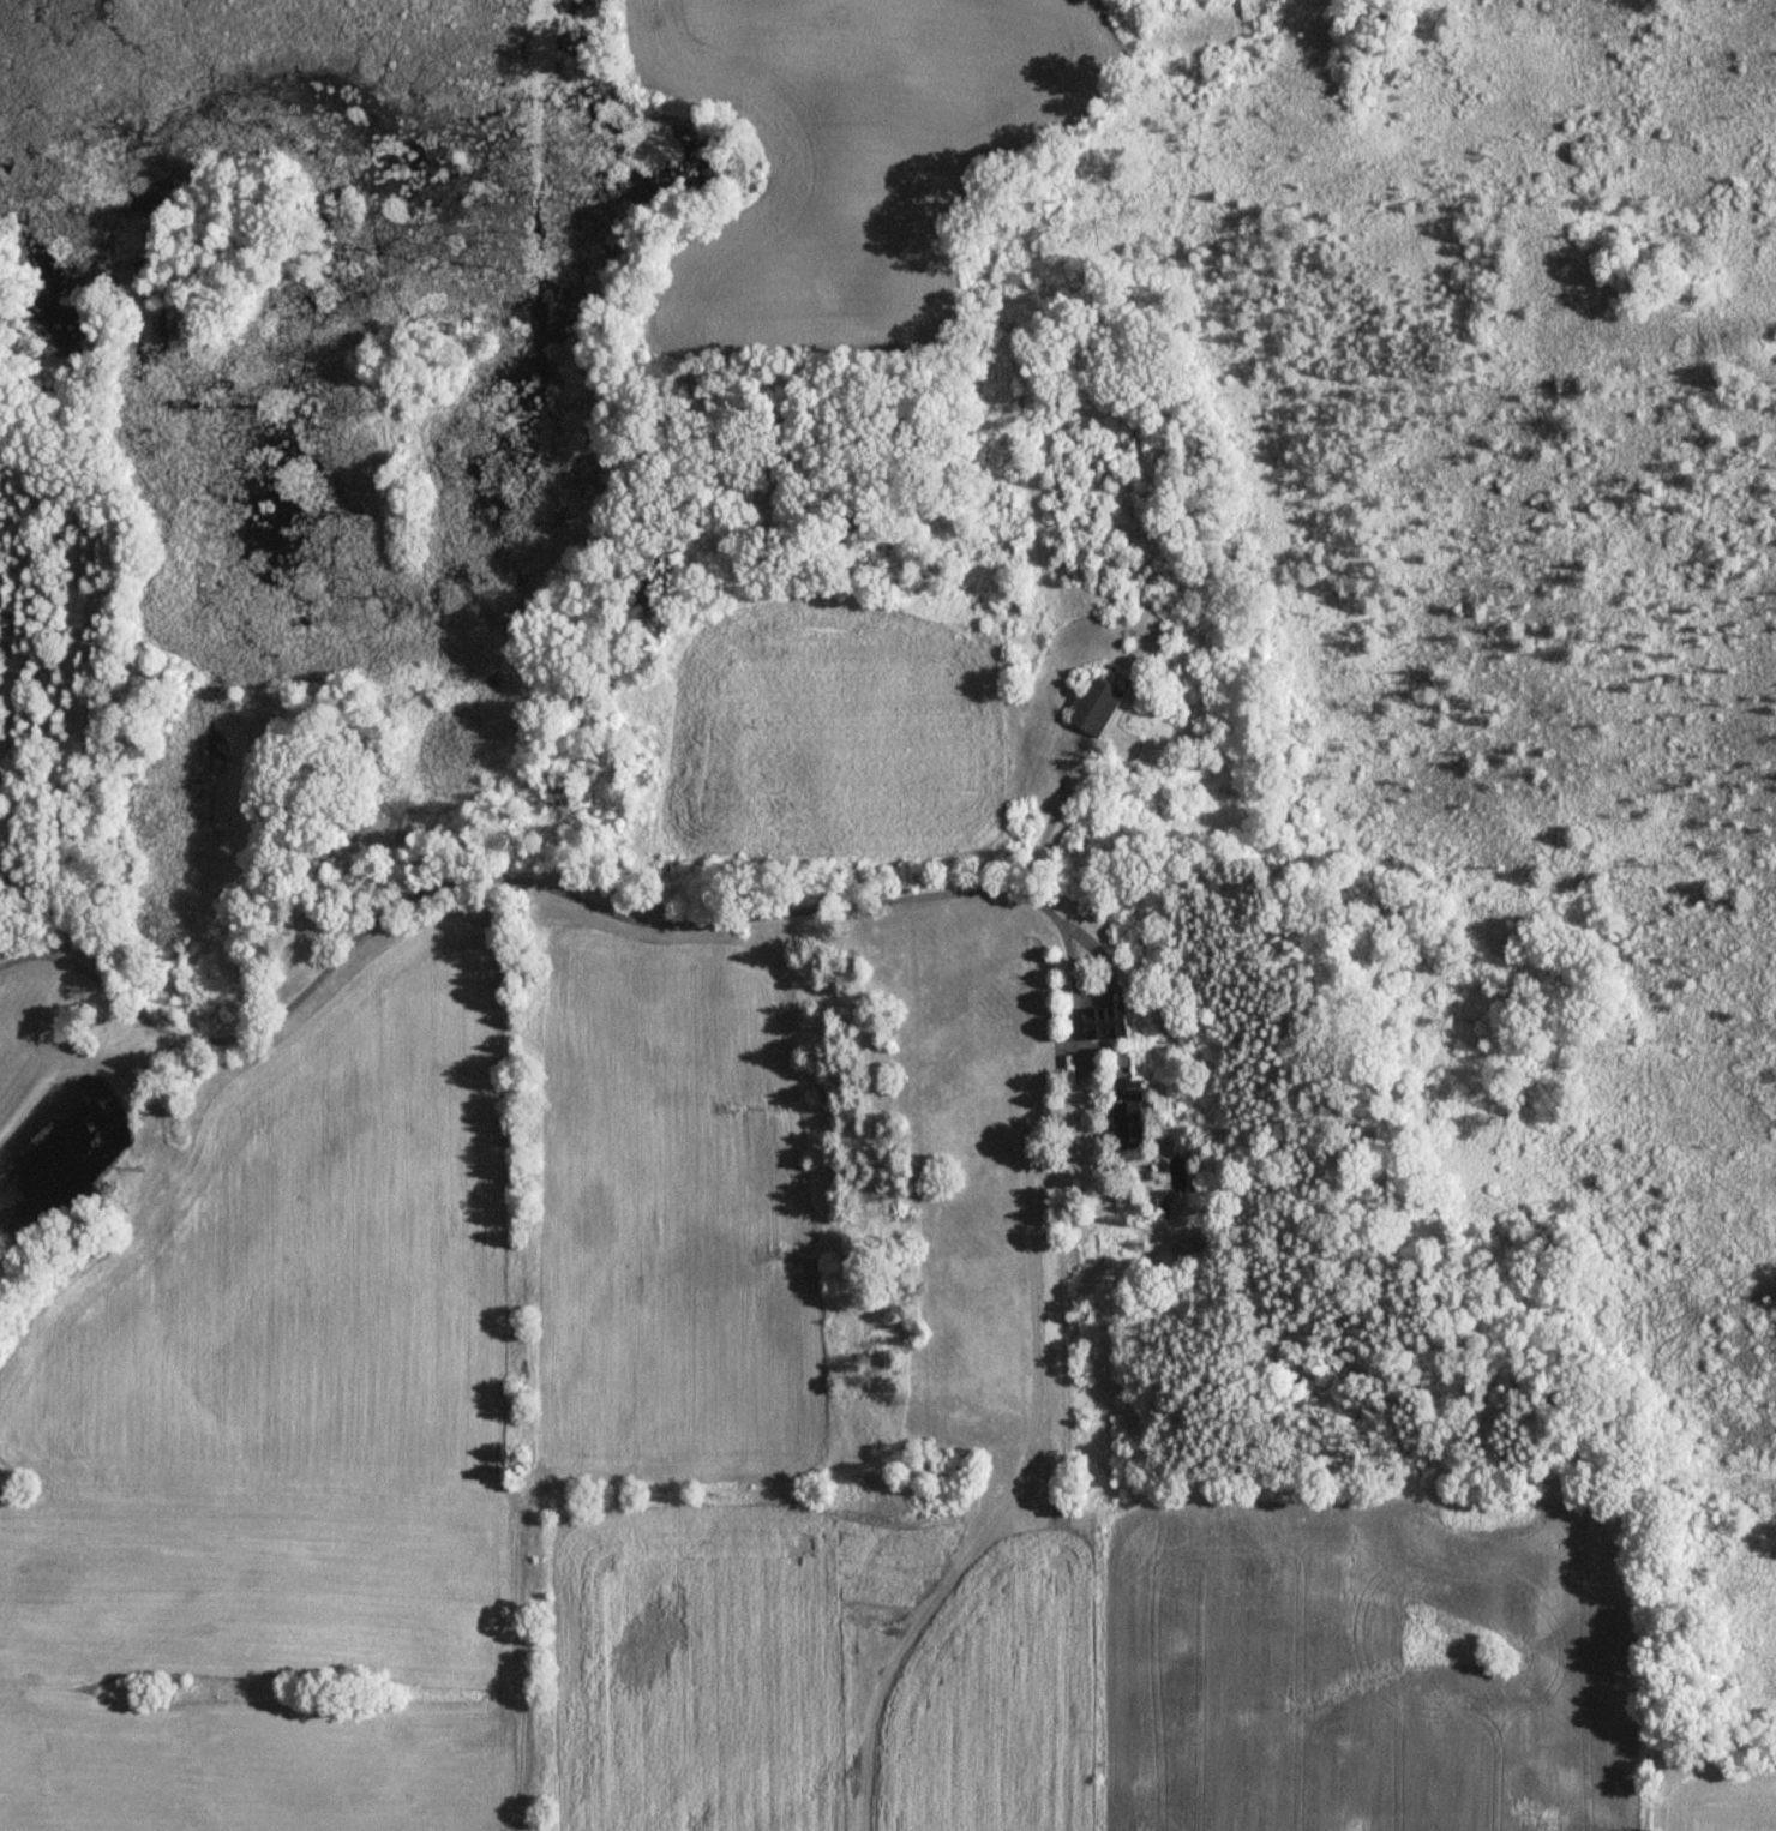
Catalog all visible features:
crop: (851, 146)
building: (1086, 714)
crop: (824, 739)
road: (1049, 821)
road: (470, 877)
road: (1097, 969)
road: (1068, 972)
building: (1099, 1021)
building: (1118, 1115)
crop: (670, 1218)
crop: (280, 1445)
road: (1024, 1452)
crop: (714, 1662)
airport runway: (1214, 1673)
crop: (1350, 1676)
crop: (991, 1701)
crop: (1717, 1808)

